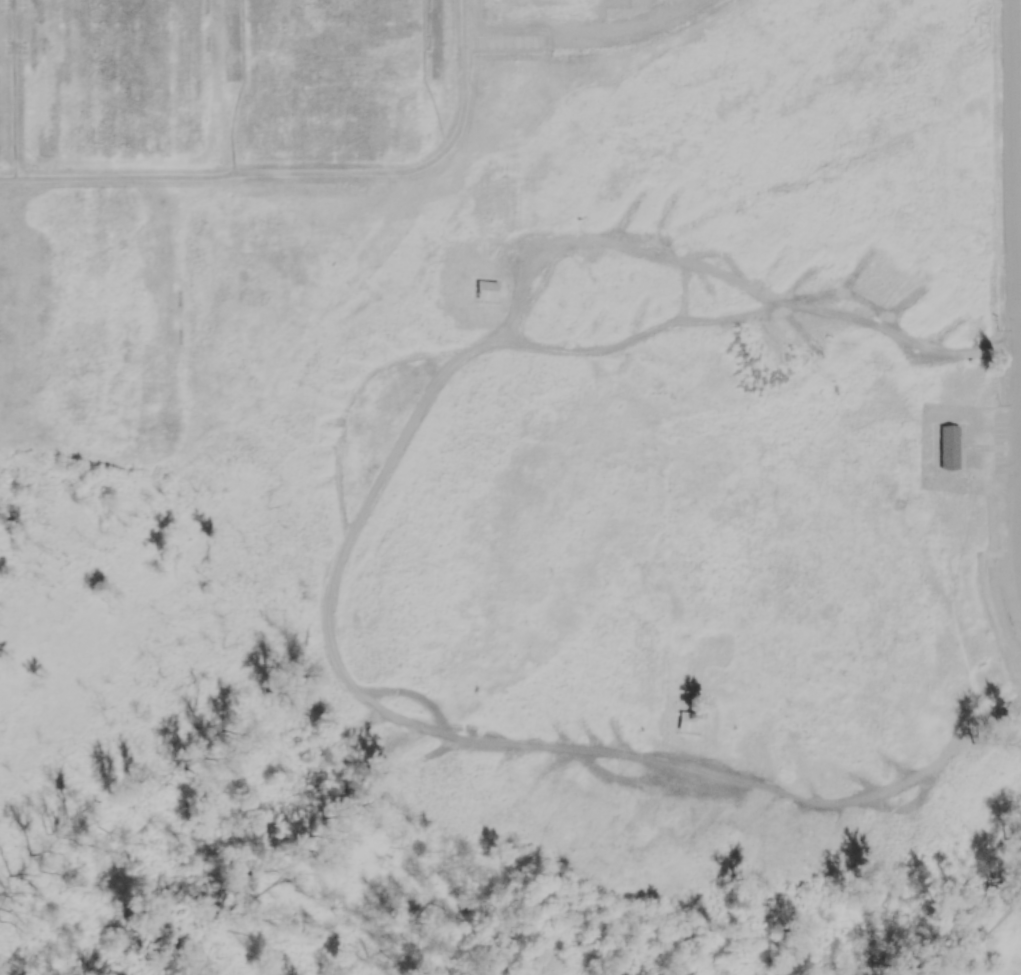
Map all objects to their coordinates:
road: (473, 18)
parking lot: (588, 22)
road: (651, 22)
road: (539, 36)
road: (462, 52)
road: (468, 70)
park: (332, 73)
park: (114, 75)
road: (423, 76)
road: (239, 88)
road: (13, 90)
road: (458, 129)
road: (342, 173)
road: (123, 179)
road: (7, 180)
road: (1013, 284)
building: (484, 291)
park: (87, 319)
road: (1018, 351)
road: (1019, 407)
building: (947, 448)
road: (976, 448)
parking lot: (1005, 449)
park: (510, 487)
road: (1020, 492)
road: (1020, 551)
building: (687, 724)
road: (982, 940)

